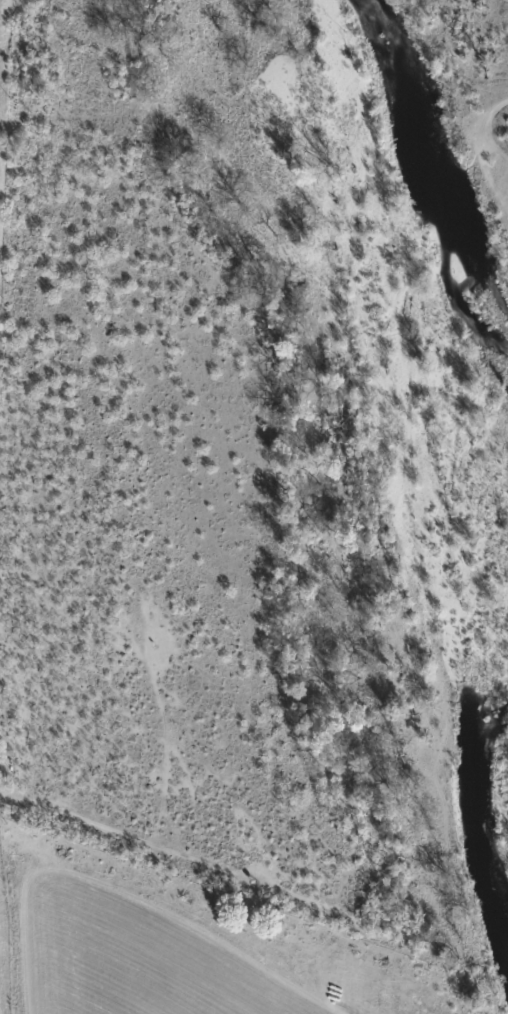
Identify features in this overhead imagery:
river: (427, 152)
river: (490, 847)

